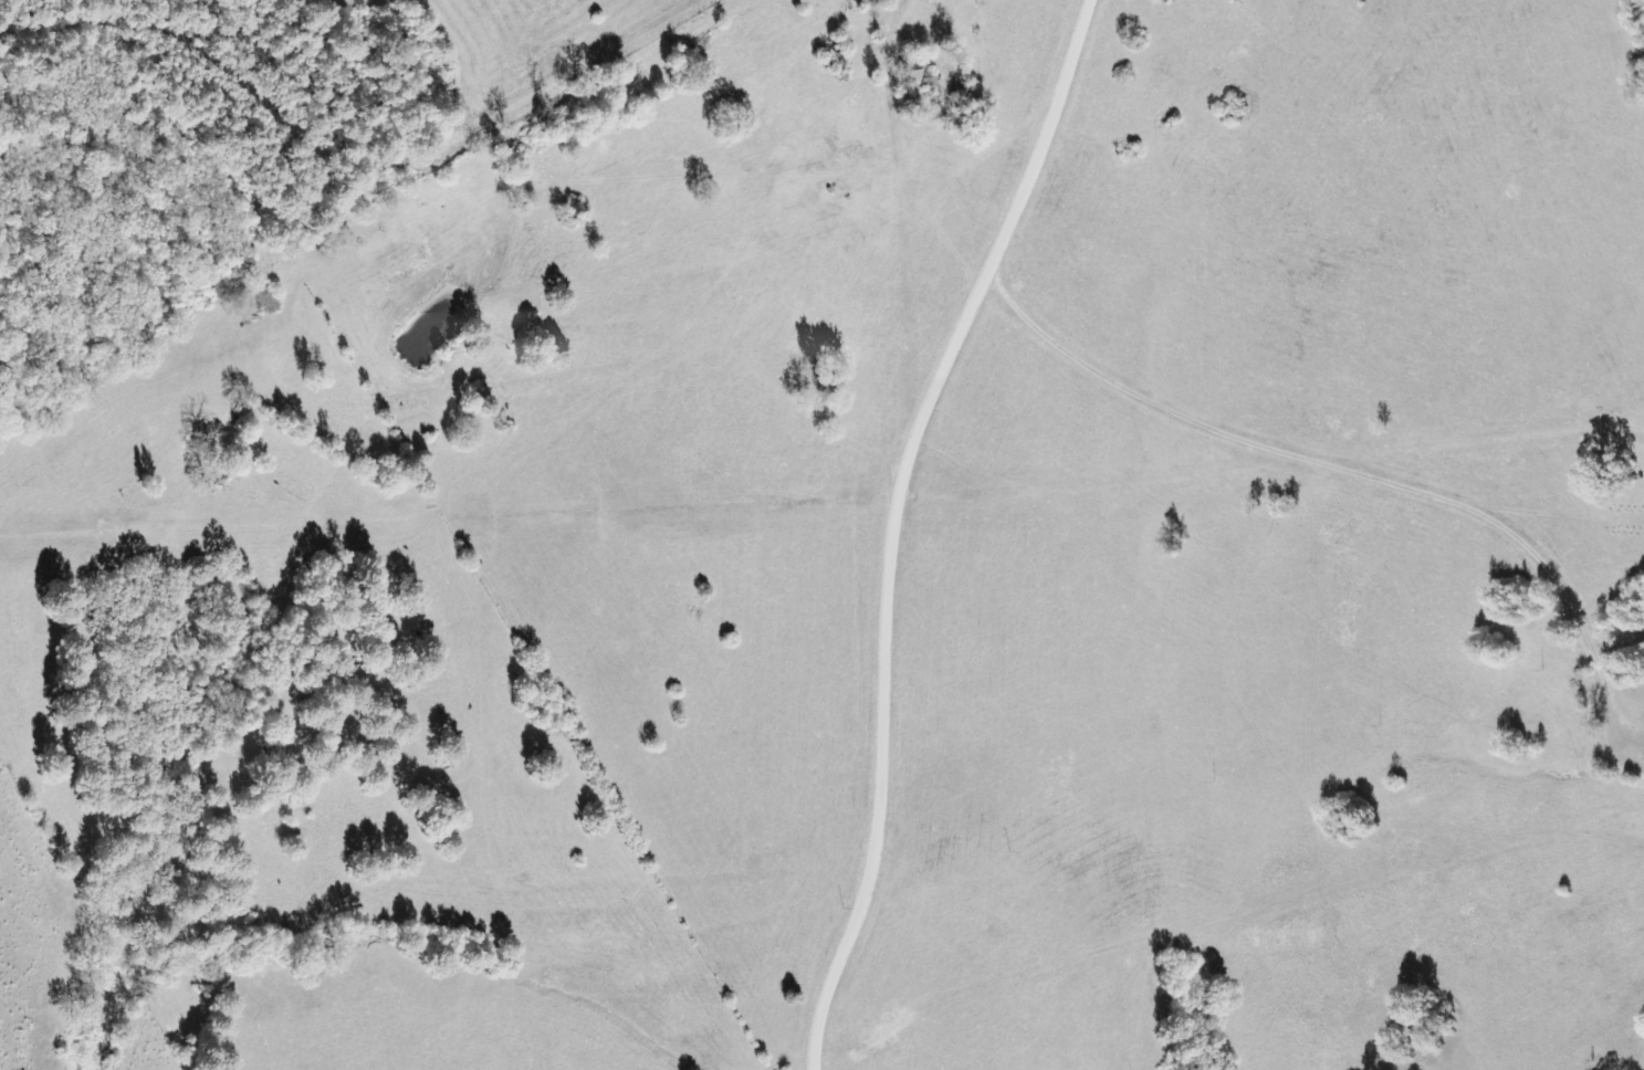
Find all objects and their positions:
road: (1036, 174)
road: (897, 181)
road: (912, 710)

